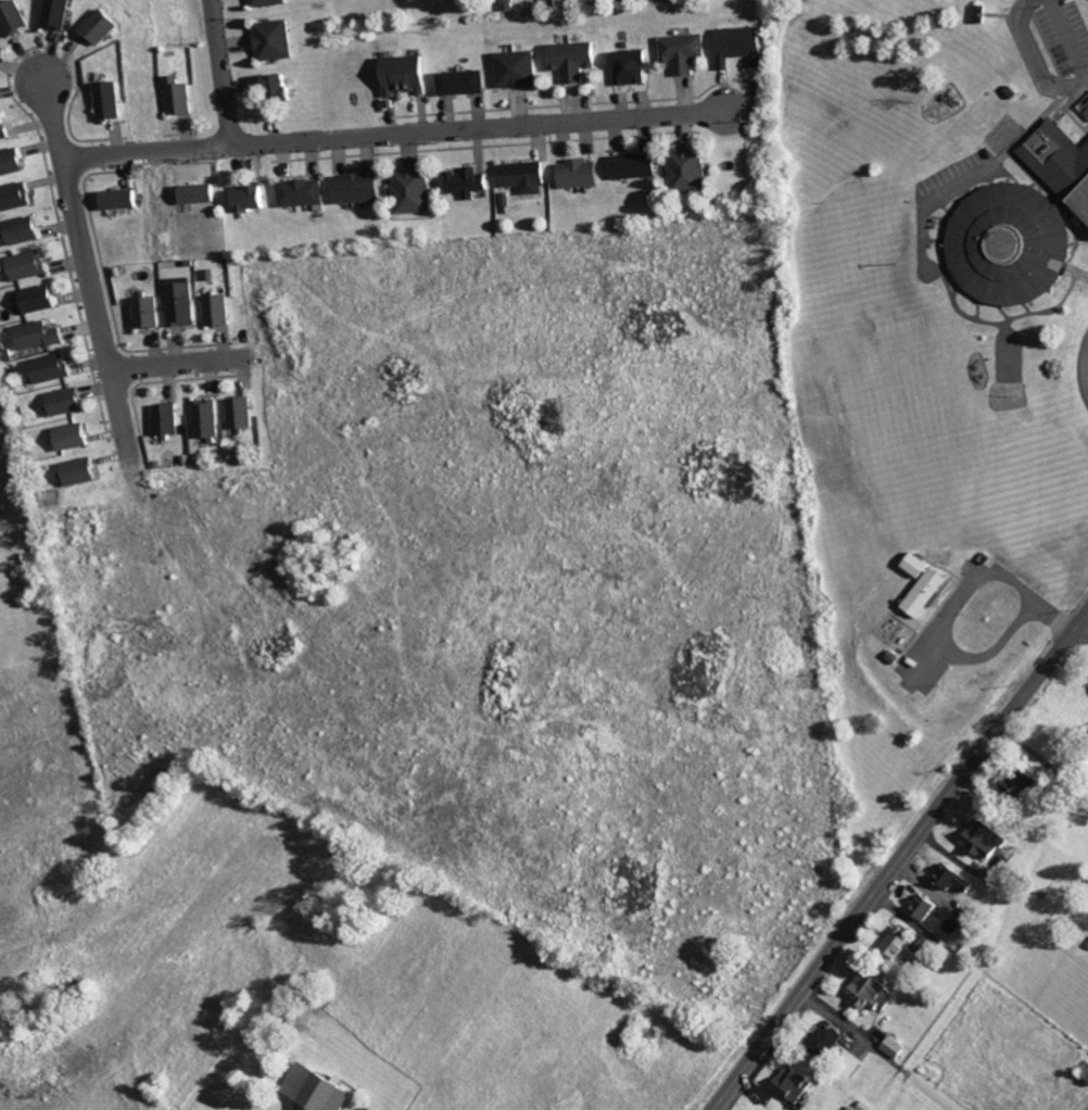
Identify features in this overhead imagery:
building: (270, 2)
building: (510, 5)
building: (59, 14)
building: (15, 18)
building: (102, 27)
building: (277, 40)
building: (744, 45)
building: (684, 52)
building: (574, 60)
building: (631, 66)
building: (519, 68)
building: (407, 75)
building: (464, 83)
building: (280, 88)
building: (180, 96)
building: (110, 101)
building: (3, 127)
road: (404, 135)
road: (144, 152)
building: (12, 162)
building: (635, 166)
building: (691, 171)
building: (581, 173)
building: (527, 177)
building: (468, 182)
building: (357, 188)
building: (413, 191)
building: (302, 192)
building: (200, 193)
building: (15, 197)
building: (251, 198)
building: (121, 199)
building: (1023, 225)
building: (24, 230)
building: (29, 265)
road: (85, 269)
building: (40, 299)
building: (181, 304)
building: (218, 311)
building: (148, 313)
building: (40, 336)
road: (177, 365)
building: (52, 368)
road: (1084, 370)
building: (66, 402)
building: (241, 413)
building: (167, 419)
building: (207, 419)
building: (74, 437)
building: (84, 471)
building: (919, 566)
building: (929, 593)
road: (950, 614)
road: (1081, 630)
building: (1024, 787)
building: (988, 838)
road: (899, 859)
building: (957, 879)
building: (926, 907)
building: (904, 946)
building: (873, 993)
building: (830, 1042)
building: (896, 1048)
building: (1087, 1072)
building: (795, 1083)
building: (324, 1089)
building: (863, 1105)

